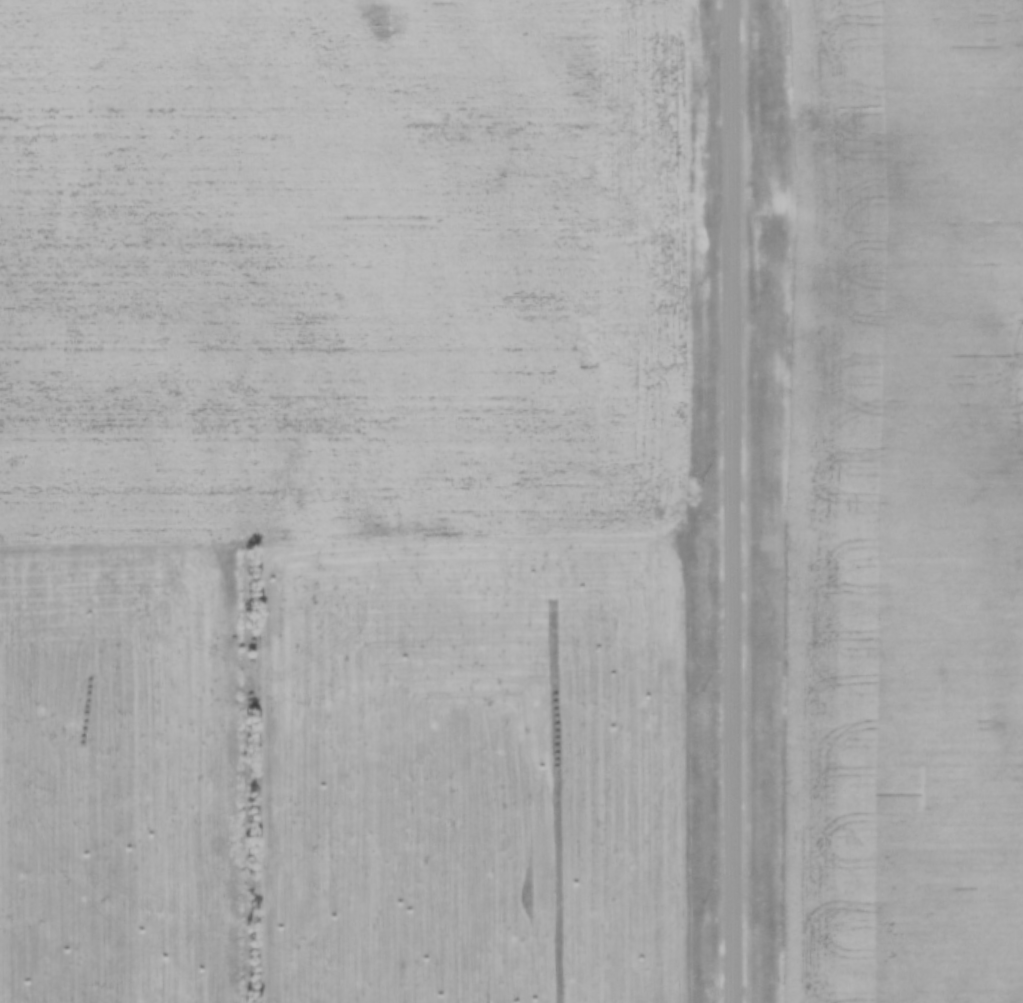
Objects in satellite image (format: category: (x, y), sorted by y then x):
road: (728, 501)

